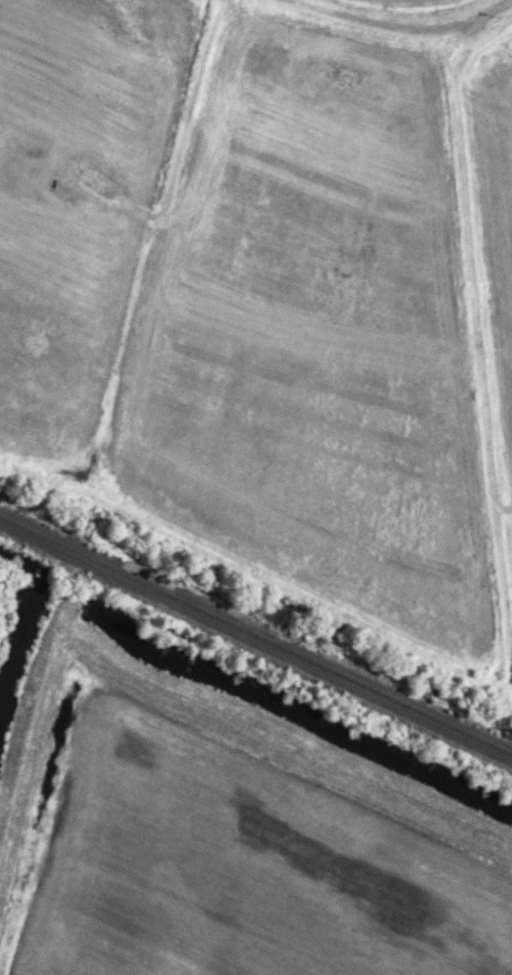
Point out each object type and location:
railway: (256, 635)

